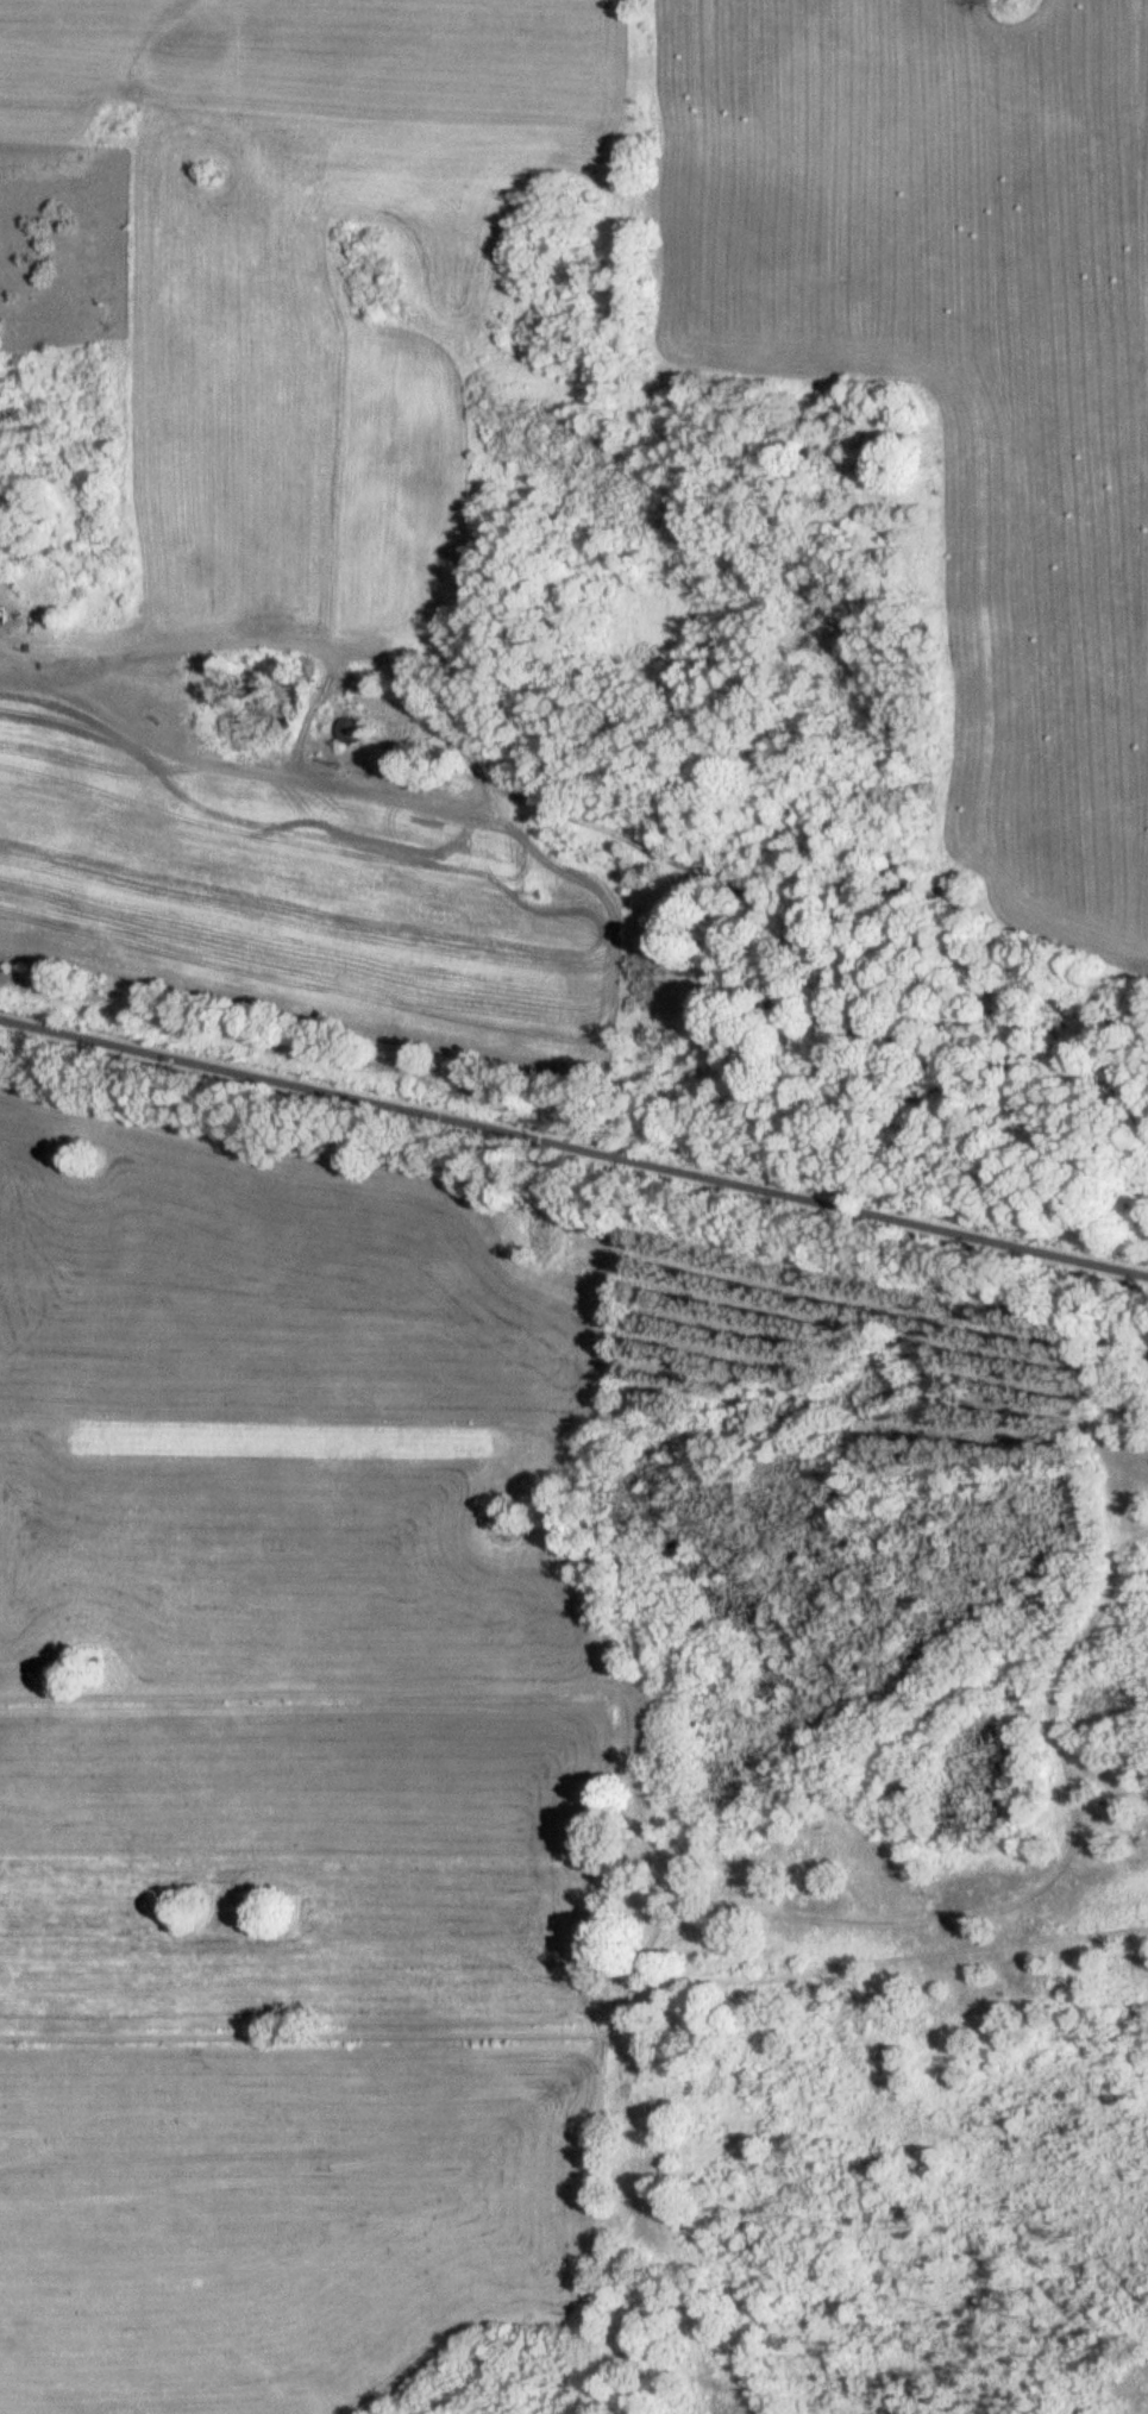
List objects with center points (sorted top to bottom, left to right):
road: (176, 645)
road: (63, 691)
road: (573, 1147)
building: (274, 1907)

